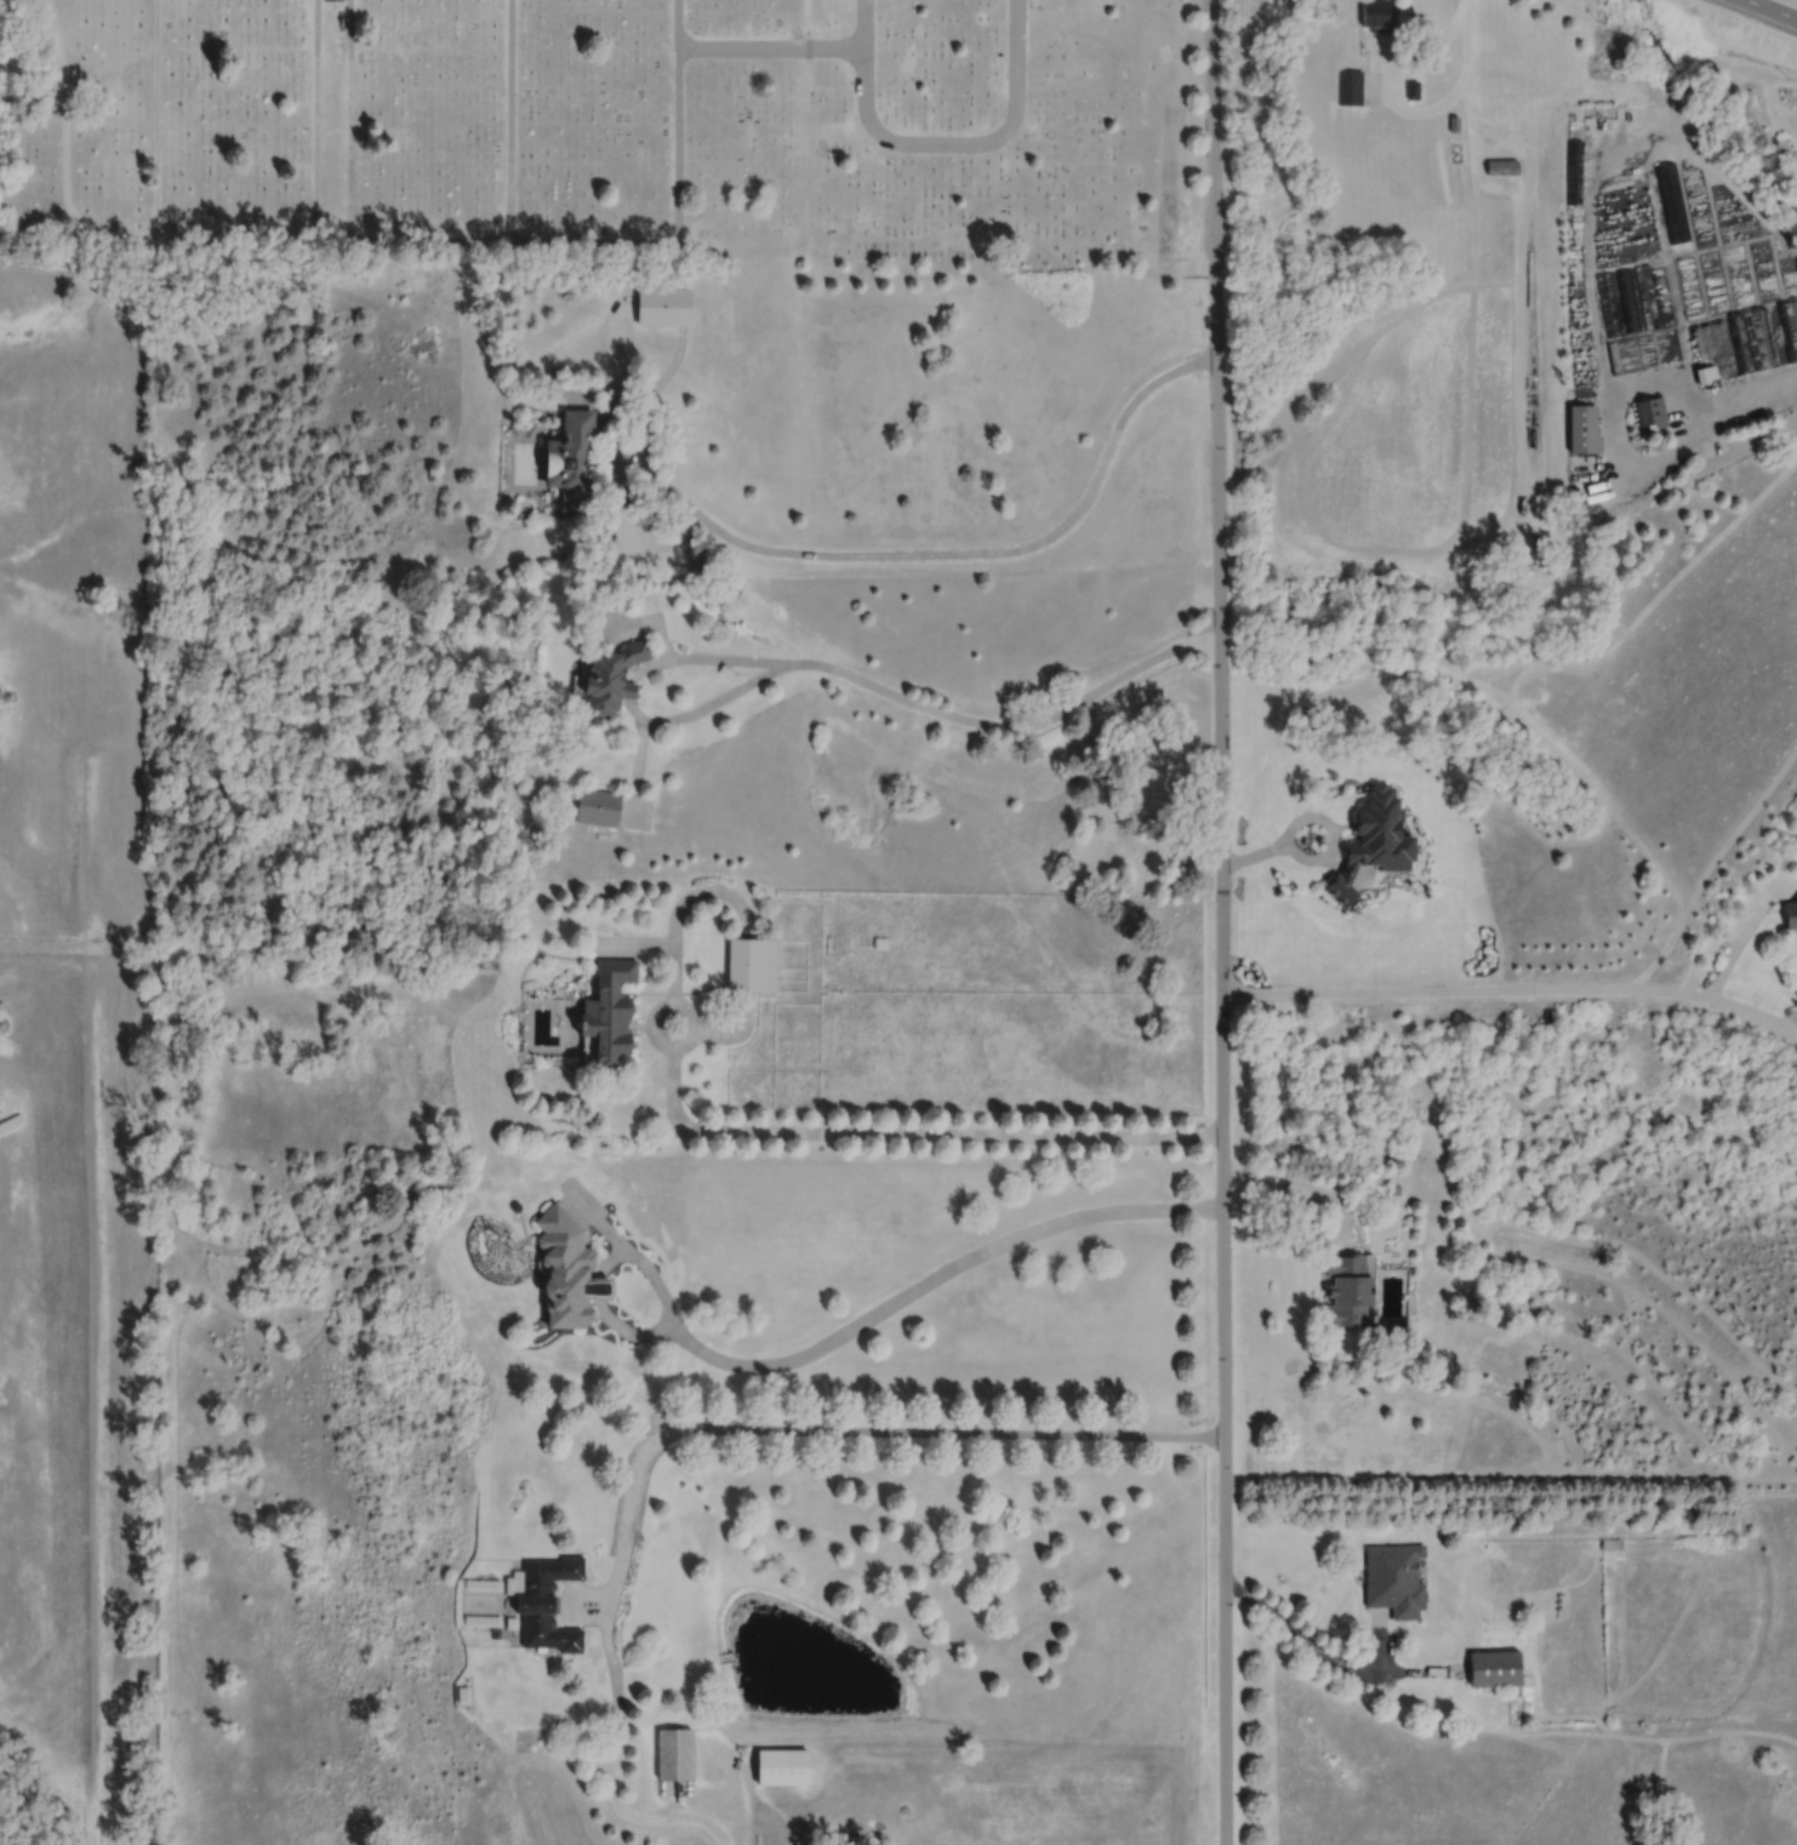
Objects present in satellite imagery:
building: (333, 0)
road: (1769, 10)
building: (1374, 13)
road: (863, 23)
road: (770, 48)
building: (1350, 86)
building: (1413, 88)
road: (1409, 110)
road: (315, 119)
road: (349, 119)
road: (510, 119)
building: (1454, 122)
park: (610, 126)
road: (964, 144)
building: (1502, 166)
building: (1671, 201)
road: (380, 238)
road: (1590, 285)
building: (661, 305)
road: (612, 338)
road: (672, 366)
building: (1705, 372)
road: (649, 405)
building: (1582, 428)
building: (572, 458)
road: (952, 553)
road: (702, 657)
road: (629, 693)
road: (920, 702)
building: (1373, 841)
road: (1256, 851)
road: (1322, 852)
building: (1790, 913)
road: (1225, 921)
road: (1740, 930)
road: (1517, 992)
road: (1792, 1028)
building: (11, 1123)
road: (846, 1131)
road: (1301, 1187)
building: (1347, 1287)
road: (598, 1289)
road: (882, 1308)
road: (628, 1331)
road: (684, 1428)
building: (1393, 1578)
building: (549, 1626)
road: (1302, 1636)
building: (1494, 1667)
building: (674, 1753)
building: (782, 1765)

